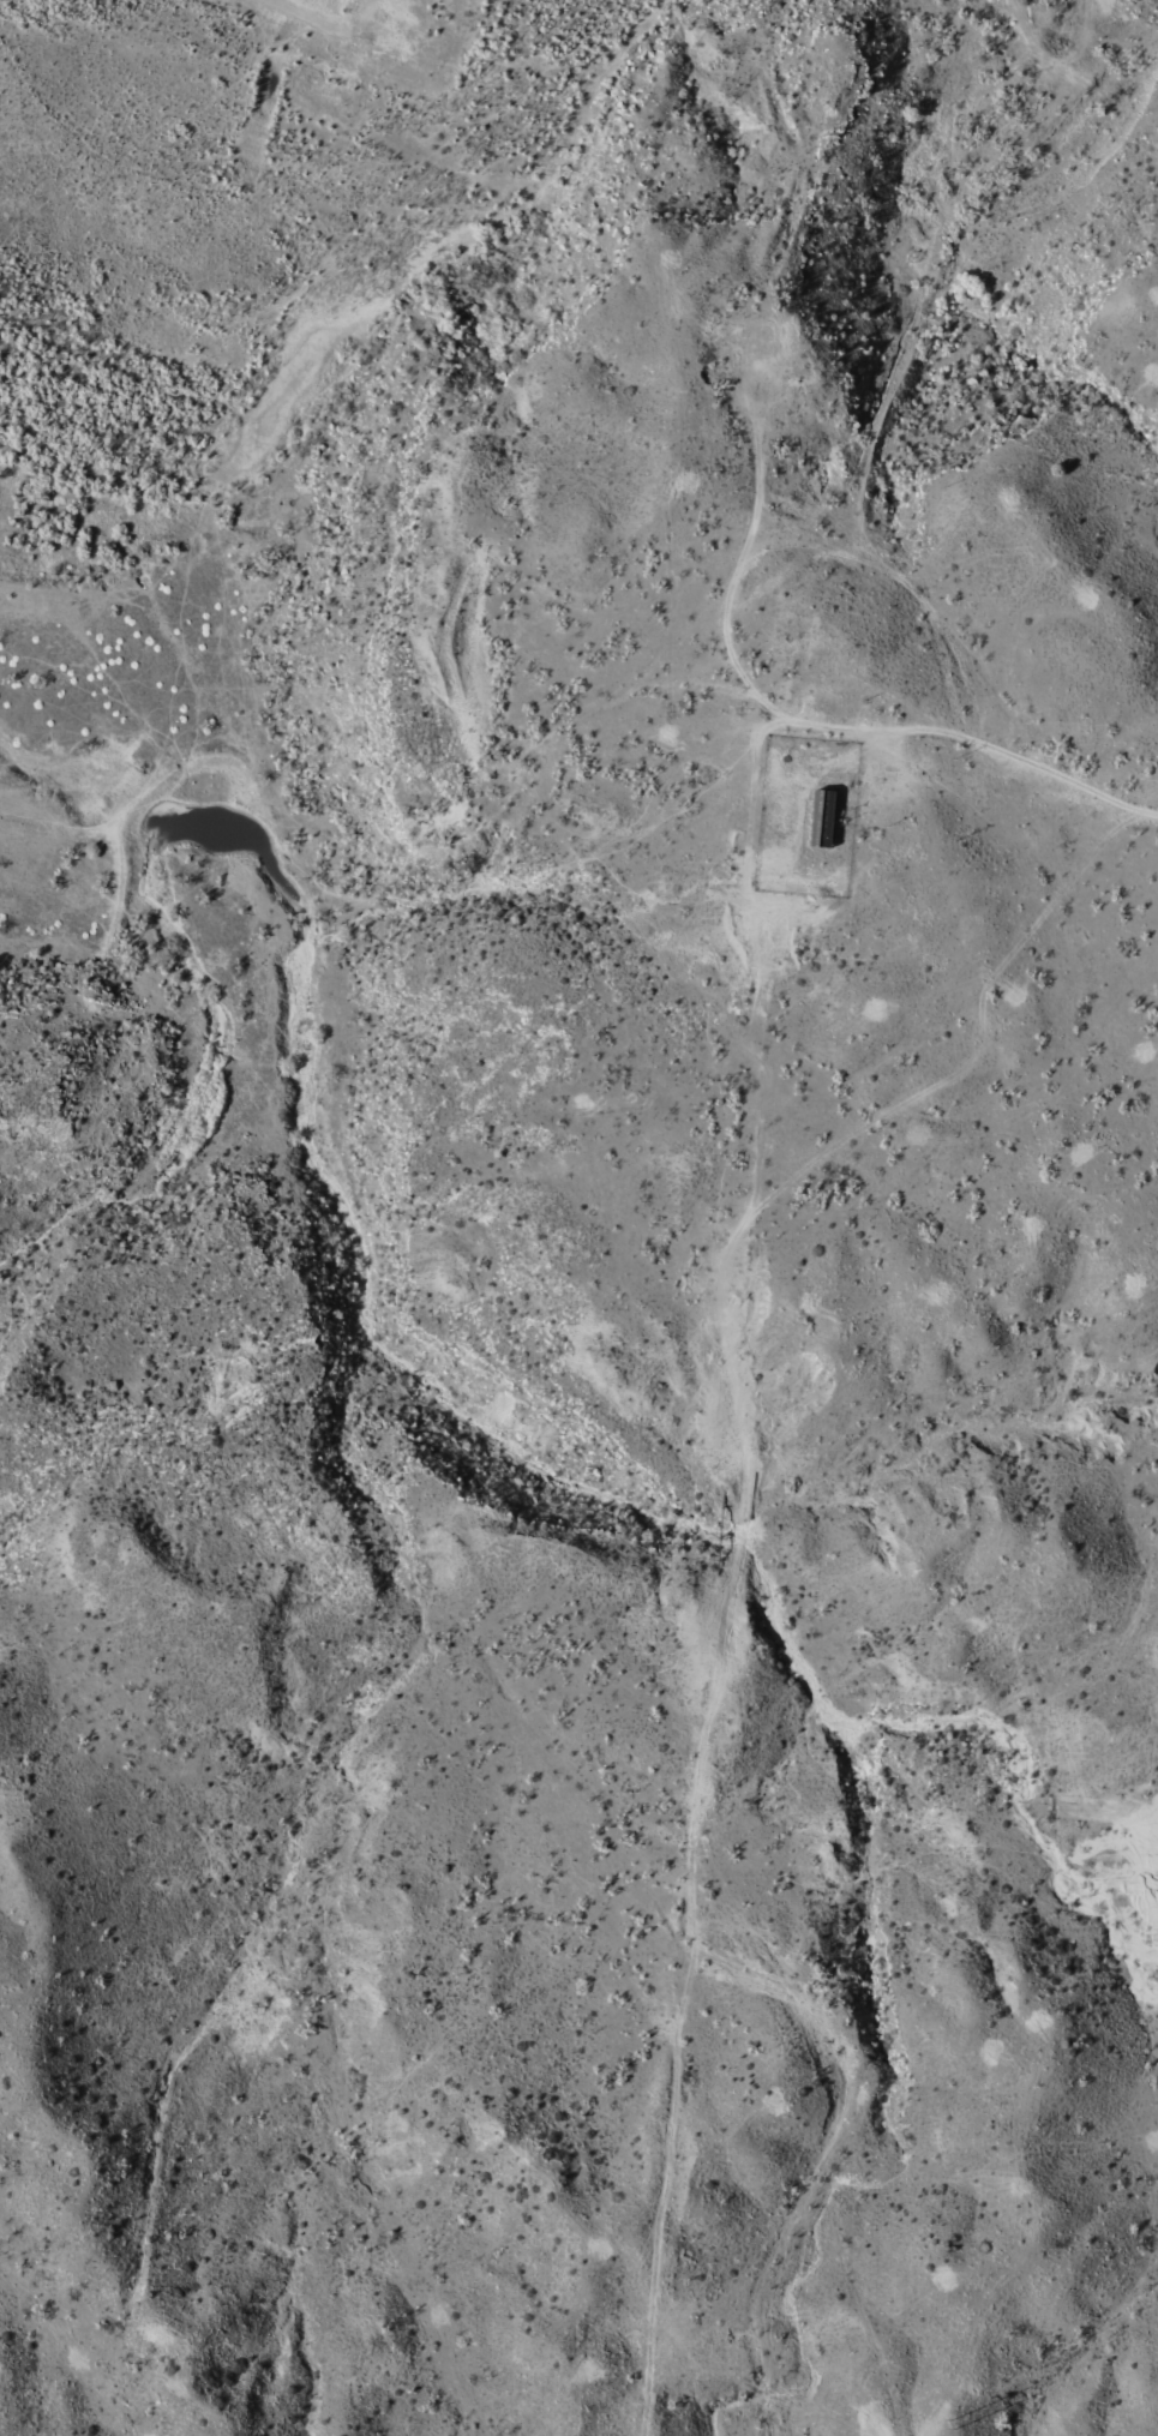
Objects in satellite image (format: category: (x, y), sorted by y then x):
power tower: (955, 2419)

